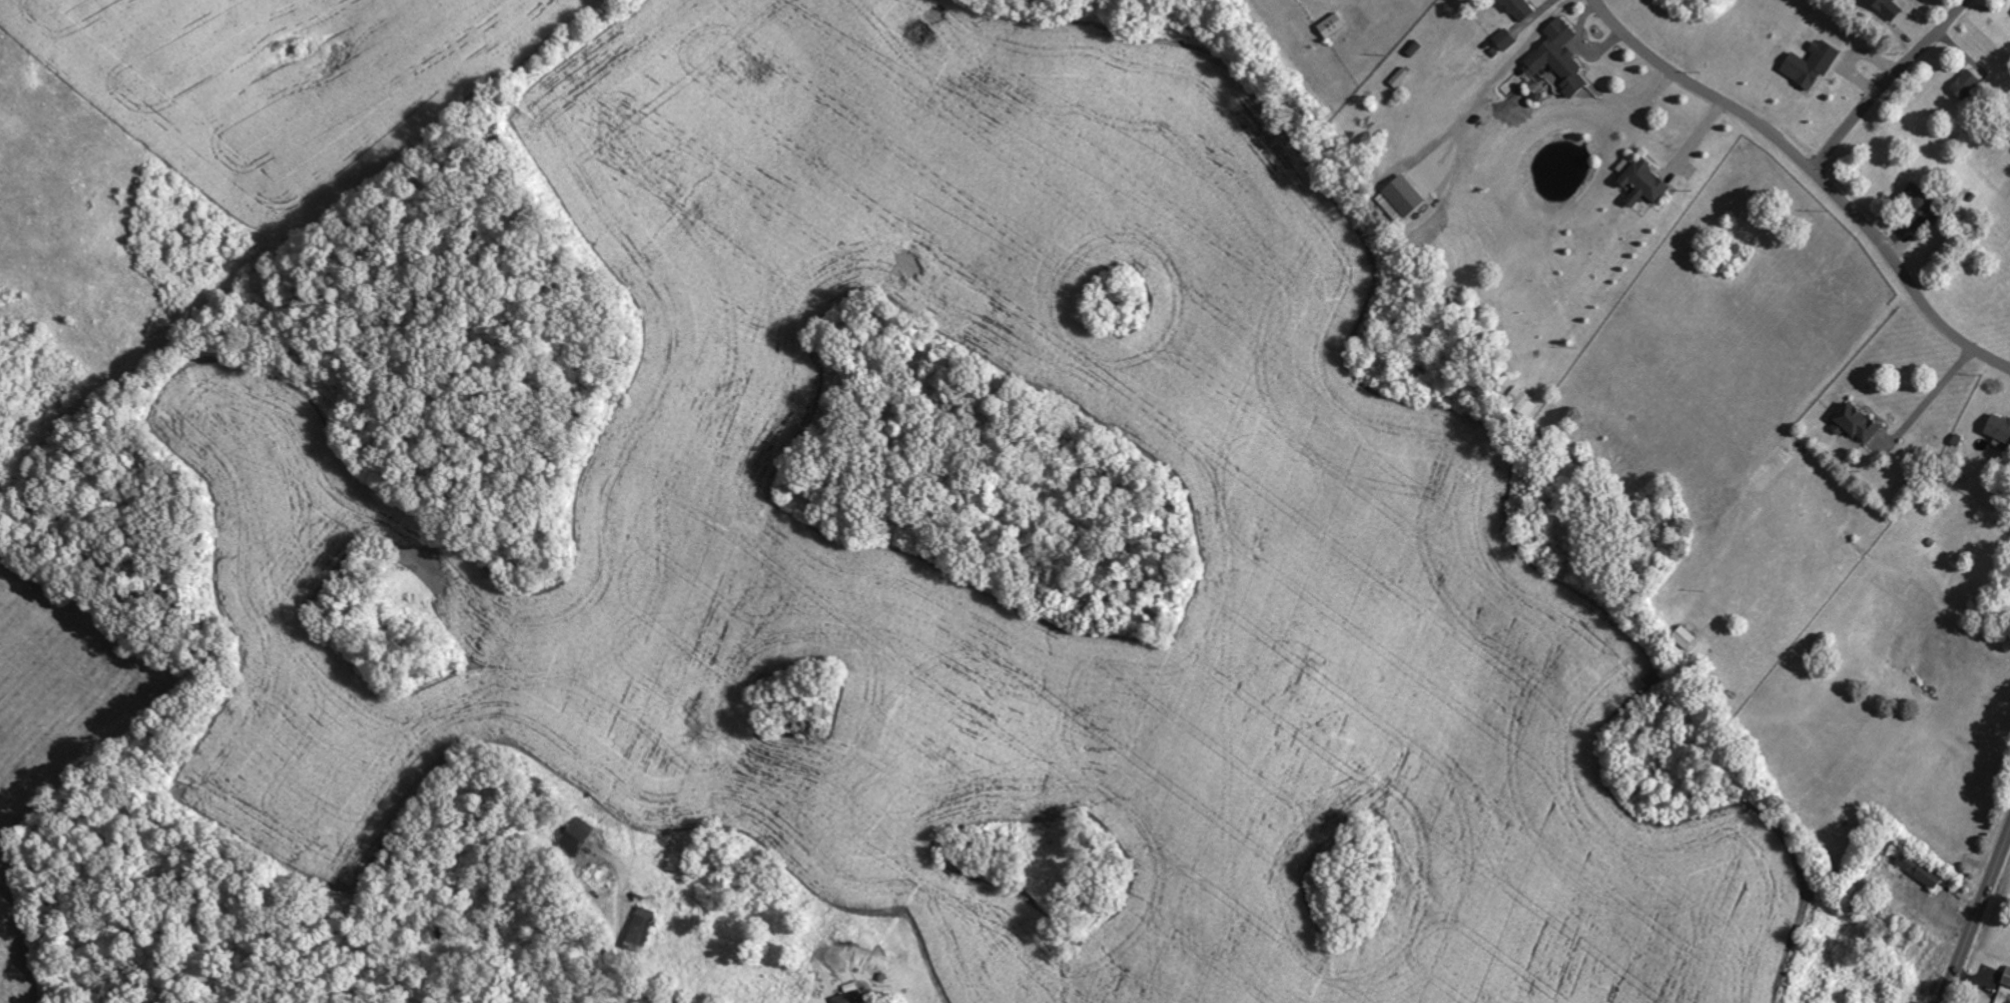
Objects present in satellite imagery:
building: (1891, 8)
building: (1523, 9)
building: (1335, 26)
building: (1508, 40)
road: (1581, 47)
building: (1558, 60)
building: (1815, 64)
road: (1499, 72)
road: (1888, 83)
building: (1969, 84)
road: (1695, 140)
road: (1815, 173)
building: (1645, 182)
building: (1410, 197)
building: (1924, 201)
road: (1932, 397)
building: (1860, 425)
building: (1996, 428)
building: (581, 835)
road: (1975, 915)
building: (644, 925)
building: (2005, 977)
building: (853, 997)

